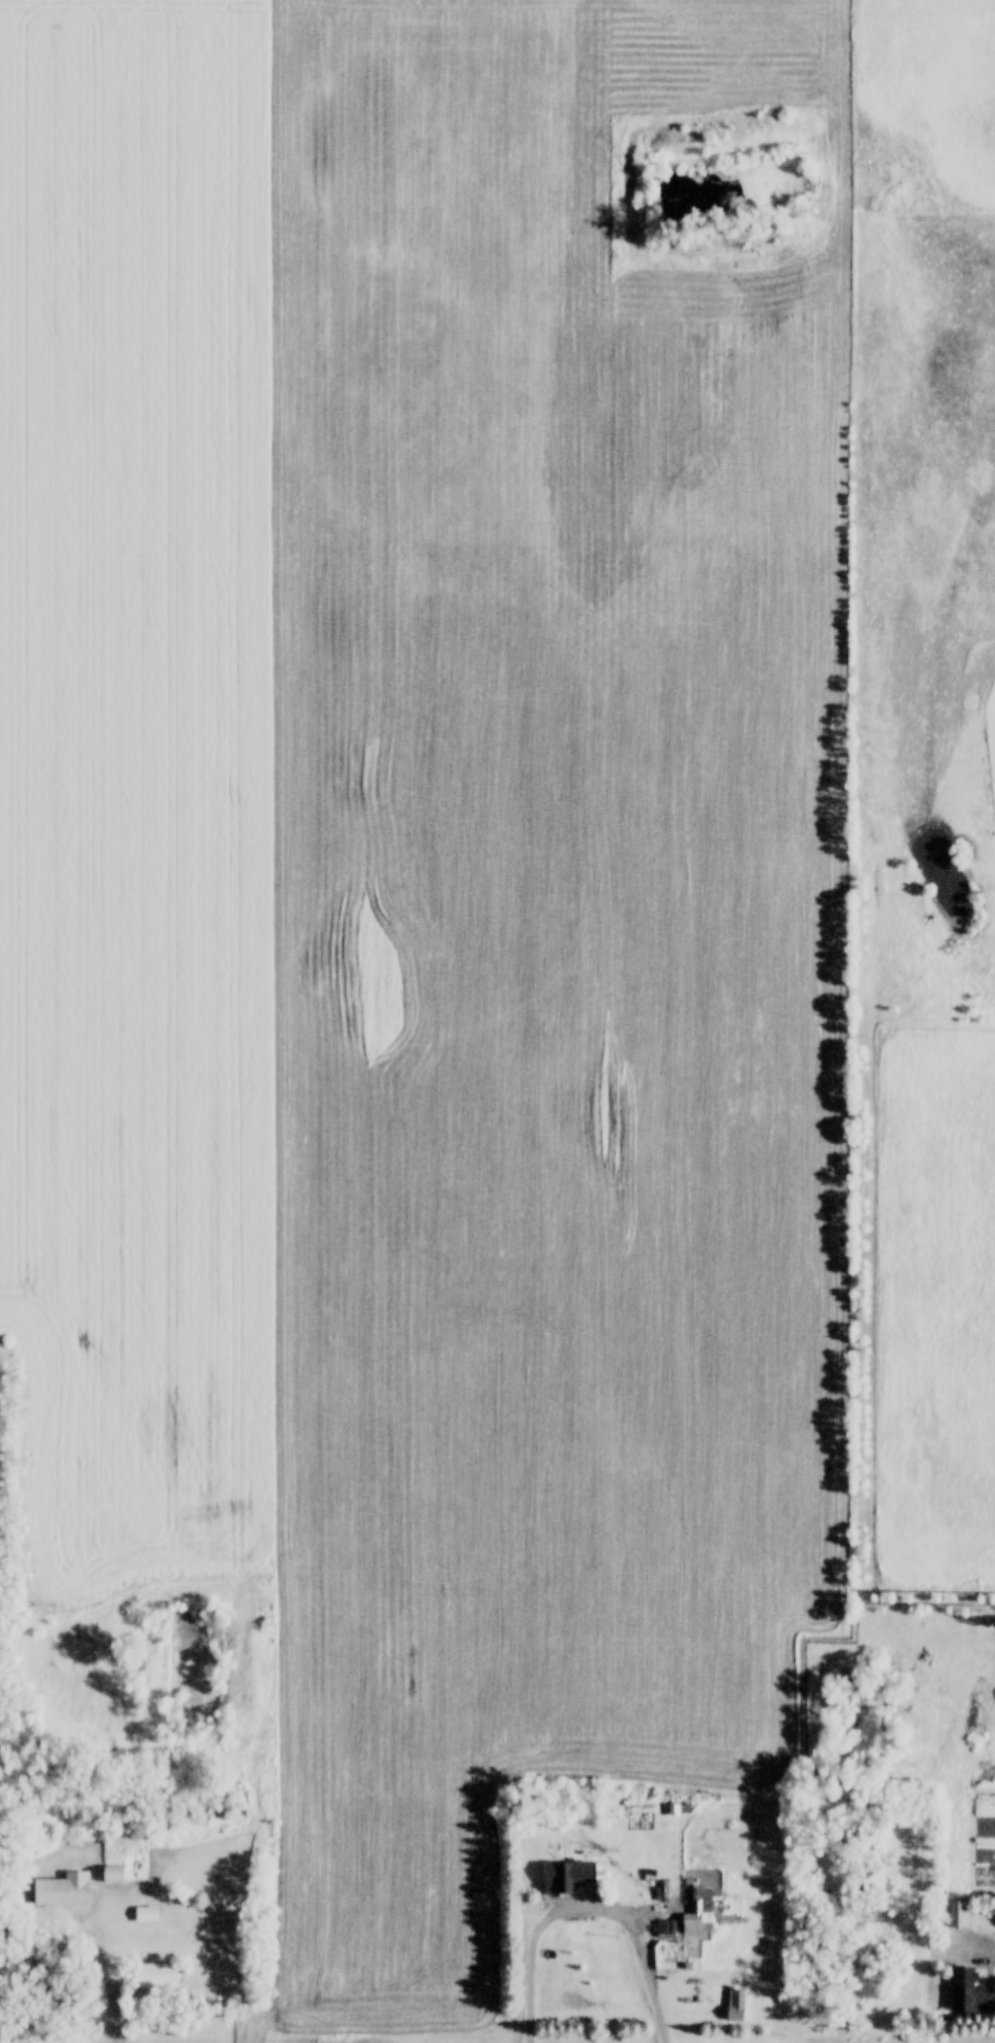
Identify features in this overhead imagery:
building: (569, 1871)
building: (114, 1873)
building: (65, 1891)
building: (702, 1900)
building: (958, 1911)
building: (156, 1972)
building: (968, 1992)
building: (738, 2000)

